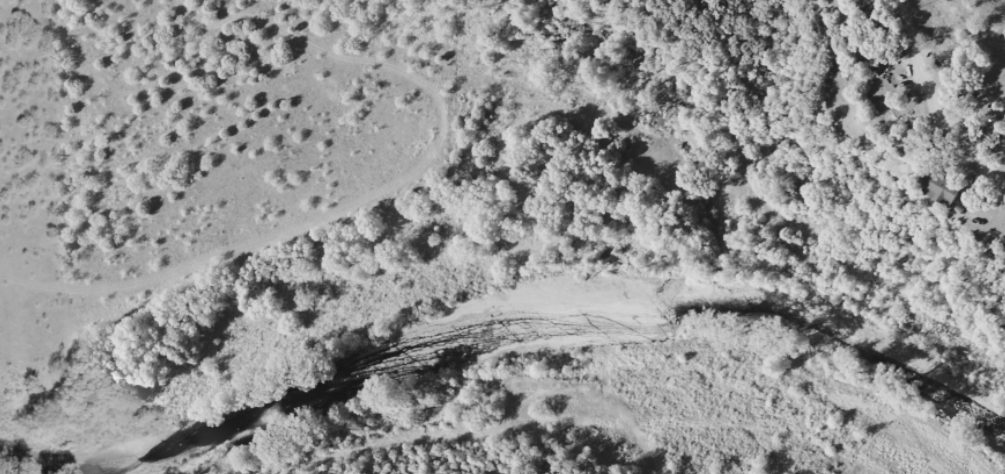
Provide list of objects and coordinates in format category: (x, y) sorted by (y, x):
building: (878, 19)
building: (945, 187)
river: (567, 312)

